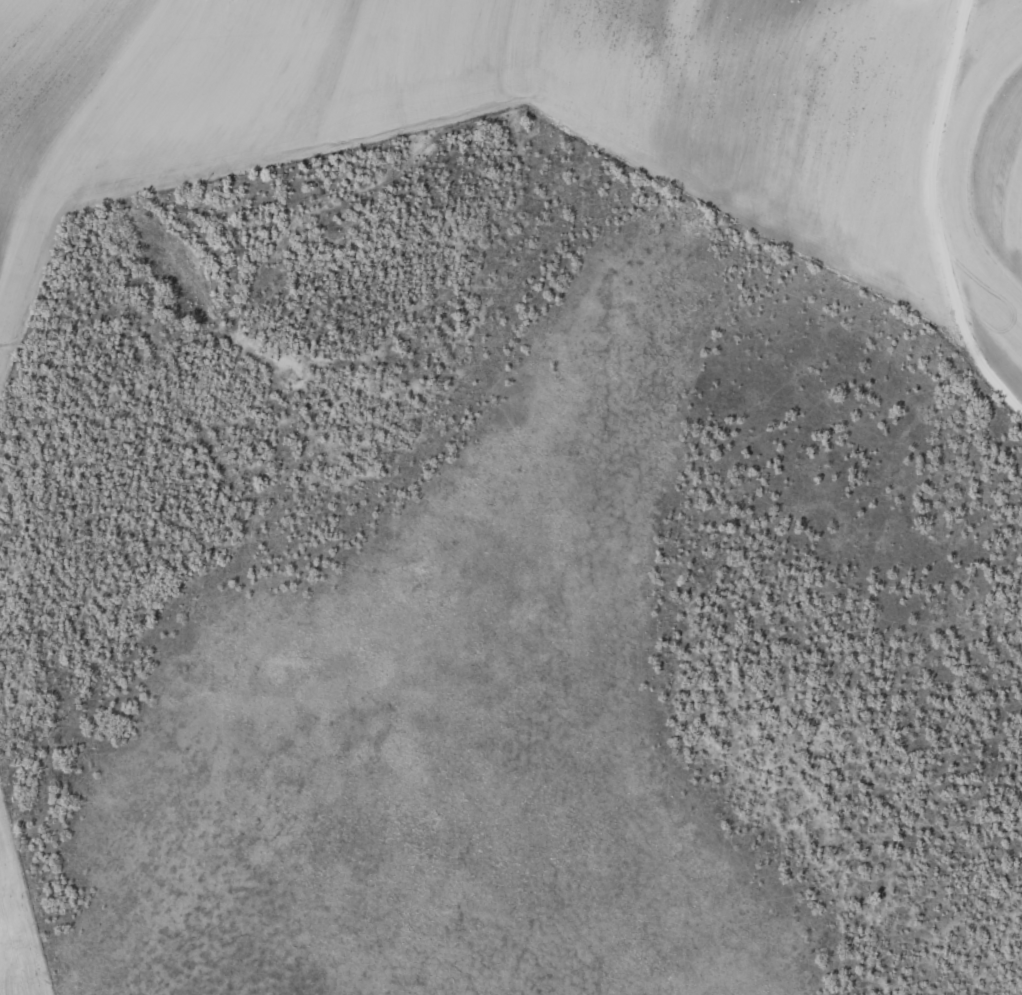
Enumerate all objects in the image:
road: (934, 214)

